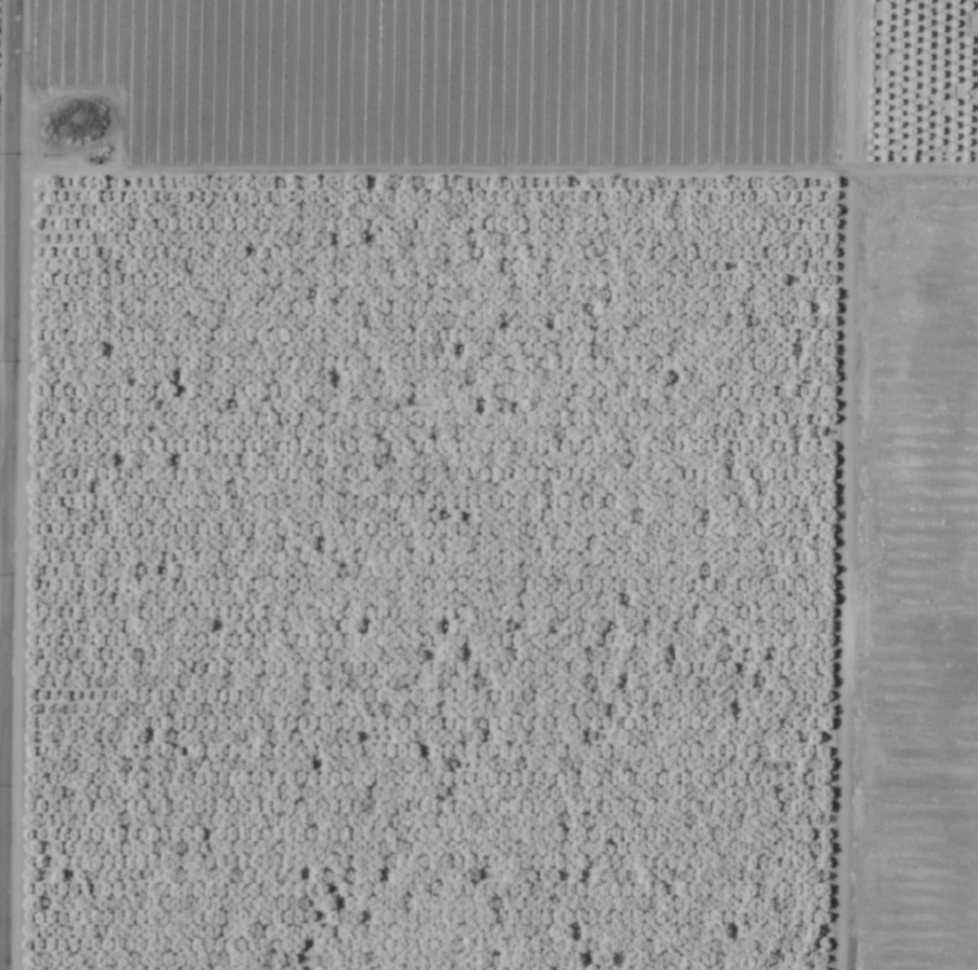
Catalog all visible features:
building: (99, 201)
road: (5, 485)
crop: (489, 485)

